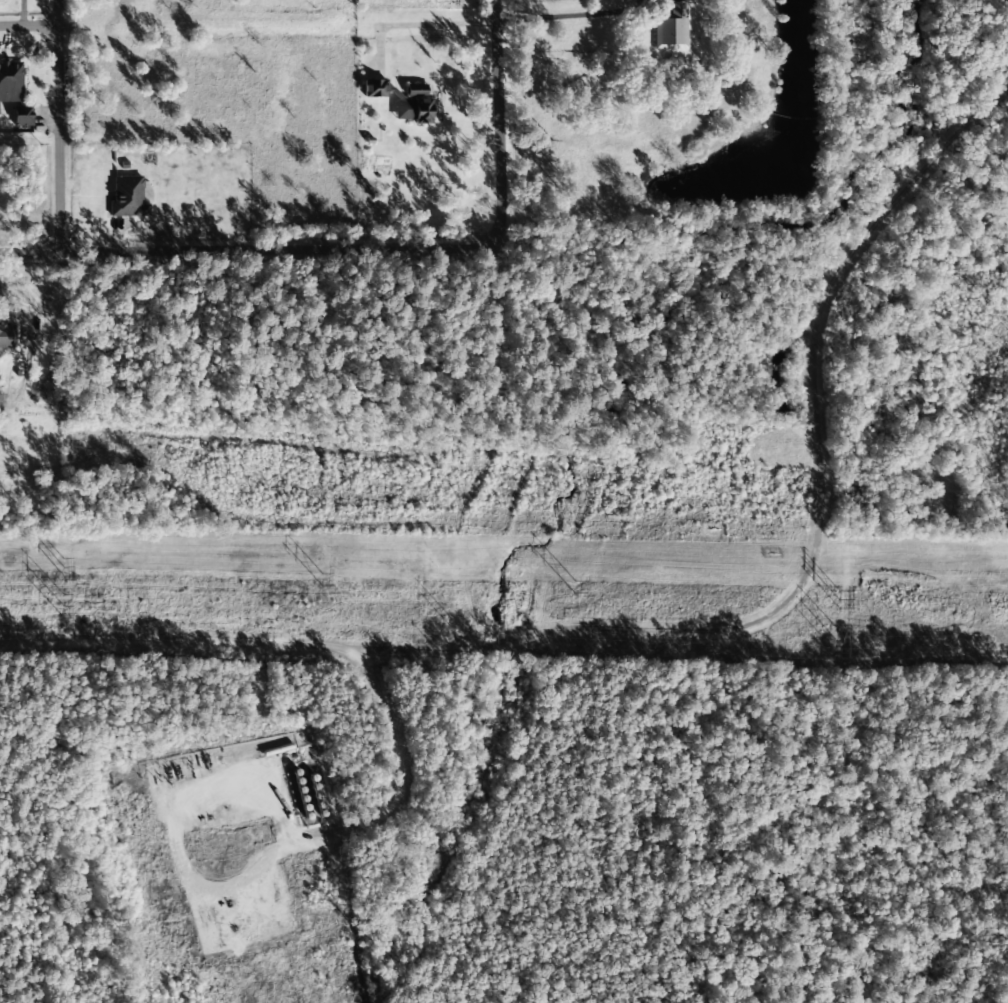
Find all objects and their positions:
building: (671, 27)
road: (30, 28)
building: (11, 82)
building: (374, 89)
building: (23, 120)
road: (497, 123)
road: (61, 125)
building: (128, 197)
road: (249, 249)
building: (7, 335)
building: (0, 404)
road: (822, 452)
power tower: (63, 605)
power tower: (451, 622)
road: (257, 644)

